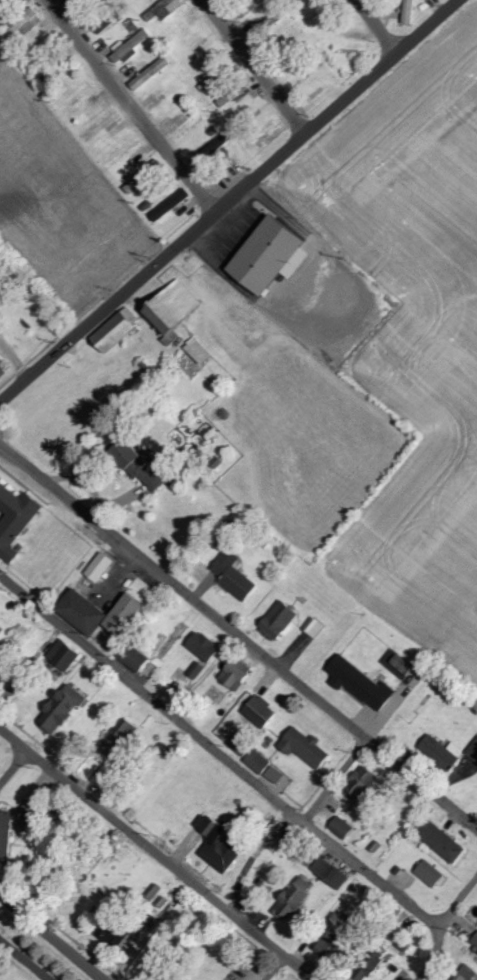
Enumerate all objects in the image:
road: (210, 2)
building: (165, 9)
building: (409, 12)
building: (22, 25)
road: (376, 26)
building: (263, 28)
building: (45, 47)
building: (130, 49)
road: (256, 66)
building: (150, 74)
road: (131, 106)
road: (338, 106)
building: (213, 150)
building: (144, 176)
building: (172, 205)
building: (264, 251)
road: (108, 306)
building: (175, 310)
building: (118, 330)
building: (199, 351)
building: (3, 370)
building: (145, 465)
building: (14, 518)
building: (100, 566)
building: (234, 575)
building: (84, 610)
building: (125, 614)
building: (279, 620)
building: (314, 627)
road: (238, 637)
building: (205, 646)
building: (65, 654)
building: (134, 657)
road: (31, 661)
building: (399, 664)
building: (198, 668)
building: (3, 669)
building: (237, 673)
building: (361, 682)
building: (246, 700)
building: (63, 708)
building: (262, 710)
building: (130, 733)
building: (242, 743)
building: (306, 746)
building: (473, 750)
building: (443, 751)
road: (217, 753)
building: (259, 761)
road: (14, 762)
building: (276, 774)
building: (362, 783)
road: (336, 784)
building: (342, 828)
building: (5, 834)
building: (442, 841)
building: (219, 844)
road: (158, 850)
building: (330, 872)
building: (430, 873)
building: (295, 898)
road: (441, 928)
building: (117, 933)
road: (53, 936)
building: (474, 942)
road: (25, 960)
building: (370, 966)
building: (467, 973)

